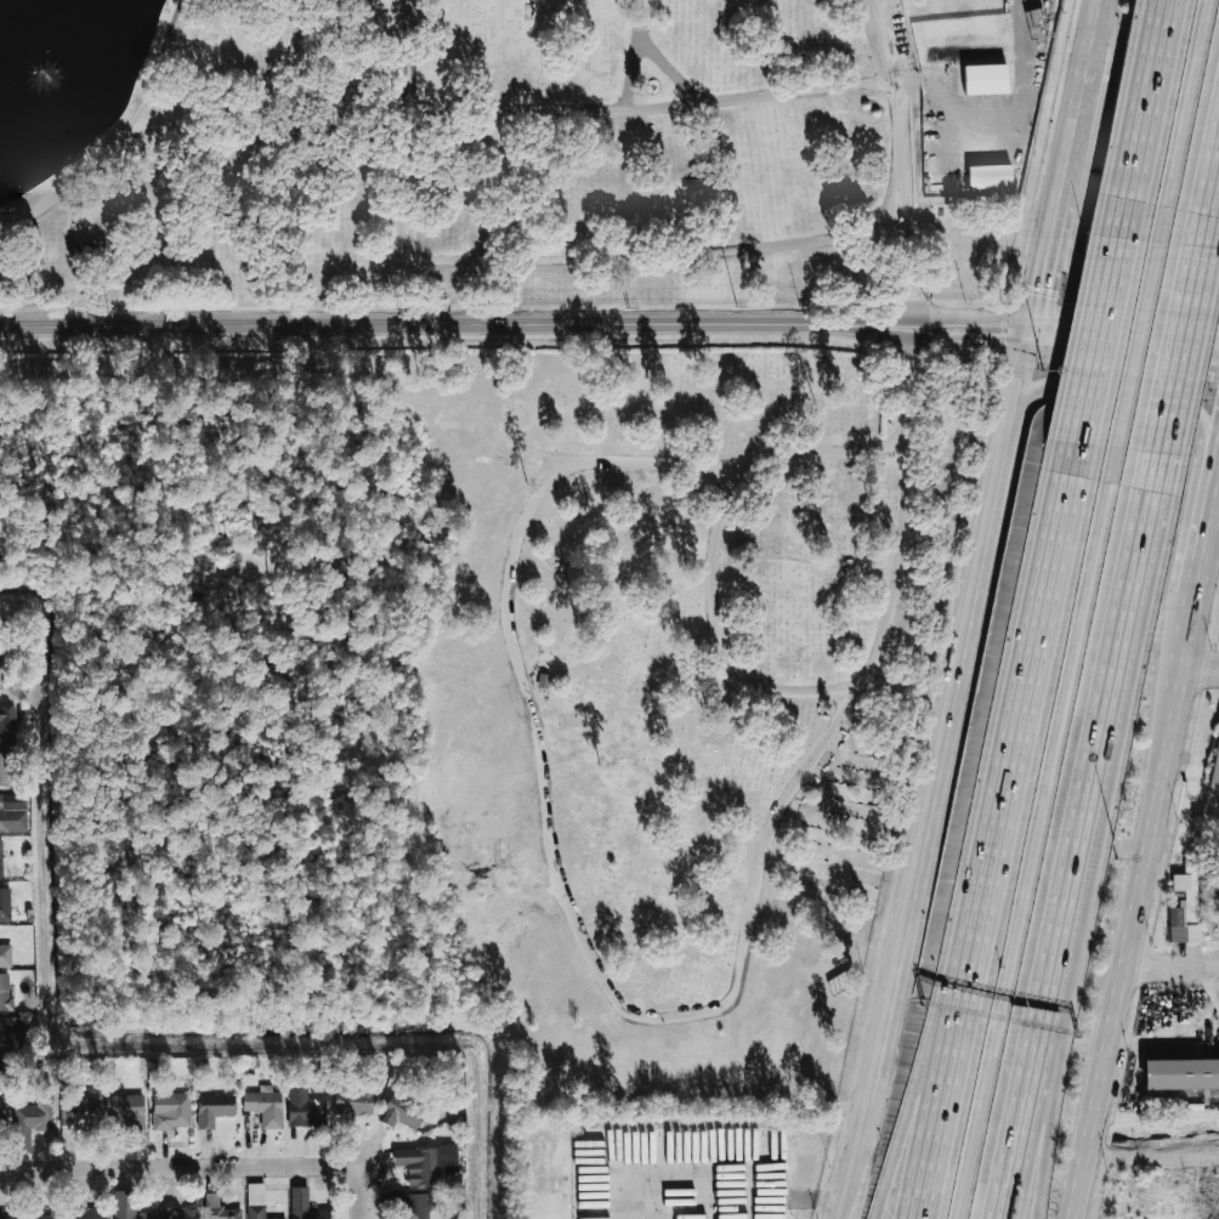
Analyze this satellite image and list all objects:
road: (1093, 19)
building: (1036, 24)
road: (883, 39)
road: (670, 72)
fountain: (45, 73)
building: (986, 79)
road: (896, 86)
road: (1077, 96)
road: (518, 108)
road: (1145, 119)
road: (1185, 120)
road: (994, 126)
road: (623, 129)
road: (410, 130)
road: (124, 137)
park: (514, 148)
building: (988, 175)
road: (1056, 203)
road: (1209, 204)
road: (901, 206)
road: (660, 256)
road: (1039, 287)
traffic signals: (1039, 288)
road: (1127, 294)
road: (939, 317)
traffic signals: (1064, 324)
road: (423, 327)
road: (1126, 330)
road: (888, 338)
road: (1096, 341)
traffic signals: (998, 344)
road: (1136, 345)
road: (1178, 348)
road: (1075, 351)
traffic signals: (1212, 368)
road: (1117, 393)
building: (527, 421)
road: (736, 463)
road: (1208, 540)
road: (806, 561)
road: (715, 634)
road: (1189, 660)
building: (0, 662)
building: (1, 665)
road: (1202, 674)
park: (489, 691)
road: (1014, 696)
building: (7, 724)
building: (5, 769)
building: (1215, 769)
road: (939, 770)
building: (2, 820)
road: (1028, 832)
road: (1085, 835)
building: (1, 858)
building: (5, 903)
building: (1183, 903)
building: (5, 956)
road: (1172, 965)
road: (1123, 970)
building: (5, 991)
road: (731, 997)
building: (7, 1036)
road: (1061, 1037)
building: (4, 1070)
building: (1180, 1073)
road: (920, 1083)
road: (937, 1084)
building: (353, 1100)
building: (265, 1106)
building: (304, 1106)
building: (124, 1111)
building: (216, 1111)
building: (402, 1111)
building: (172, 1113)
building: (2, 1117)
building: (79, 1117)
building: (30, 1119)
building: (421, 1164)
road: (180, 1167)
road: (679, 1183)
building: (255, 1189)
road: (359, 1191)
road: (806, 1196)
building: (127, 1206)
building: (304, 1206)
building: (416, 1207)
building: (86, 1209)
building: (221, 1212)
building: (256, 1212)
building: (180, 1213)
building: (10, 1214)
building: (45, 1214)

